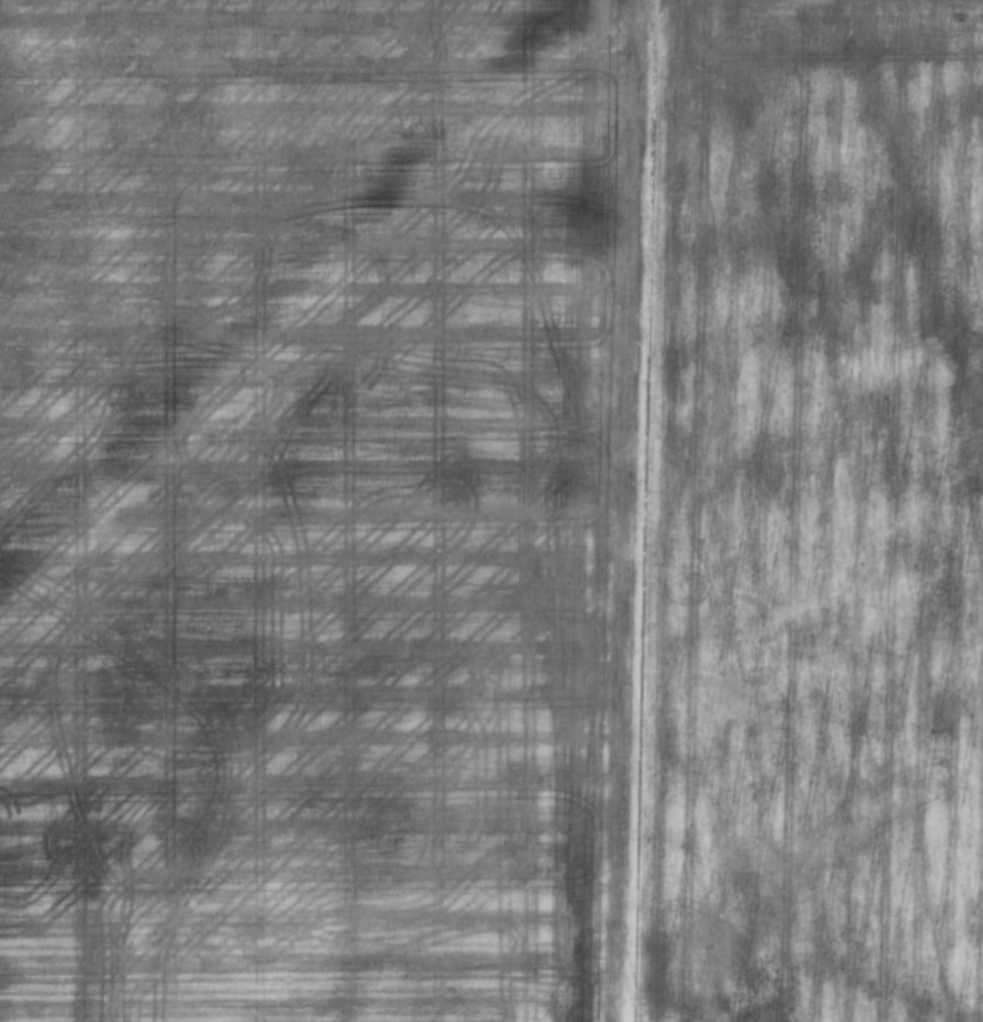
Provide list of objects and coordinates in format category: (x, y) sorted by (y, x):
crop: (491, 511)

